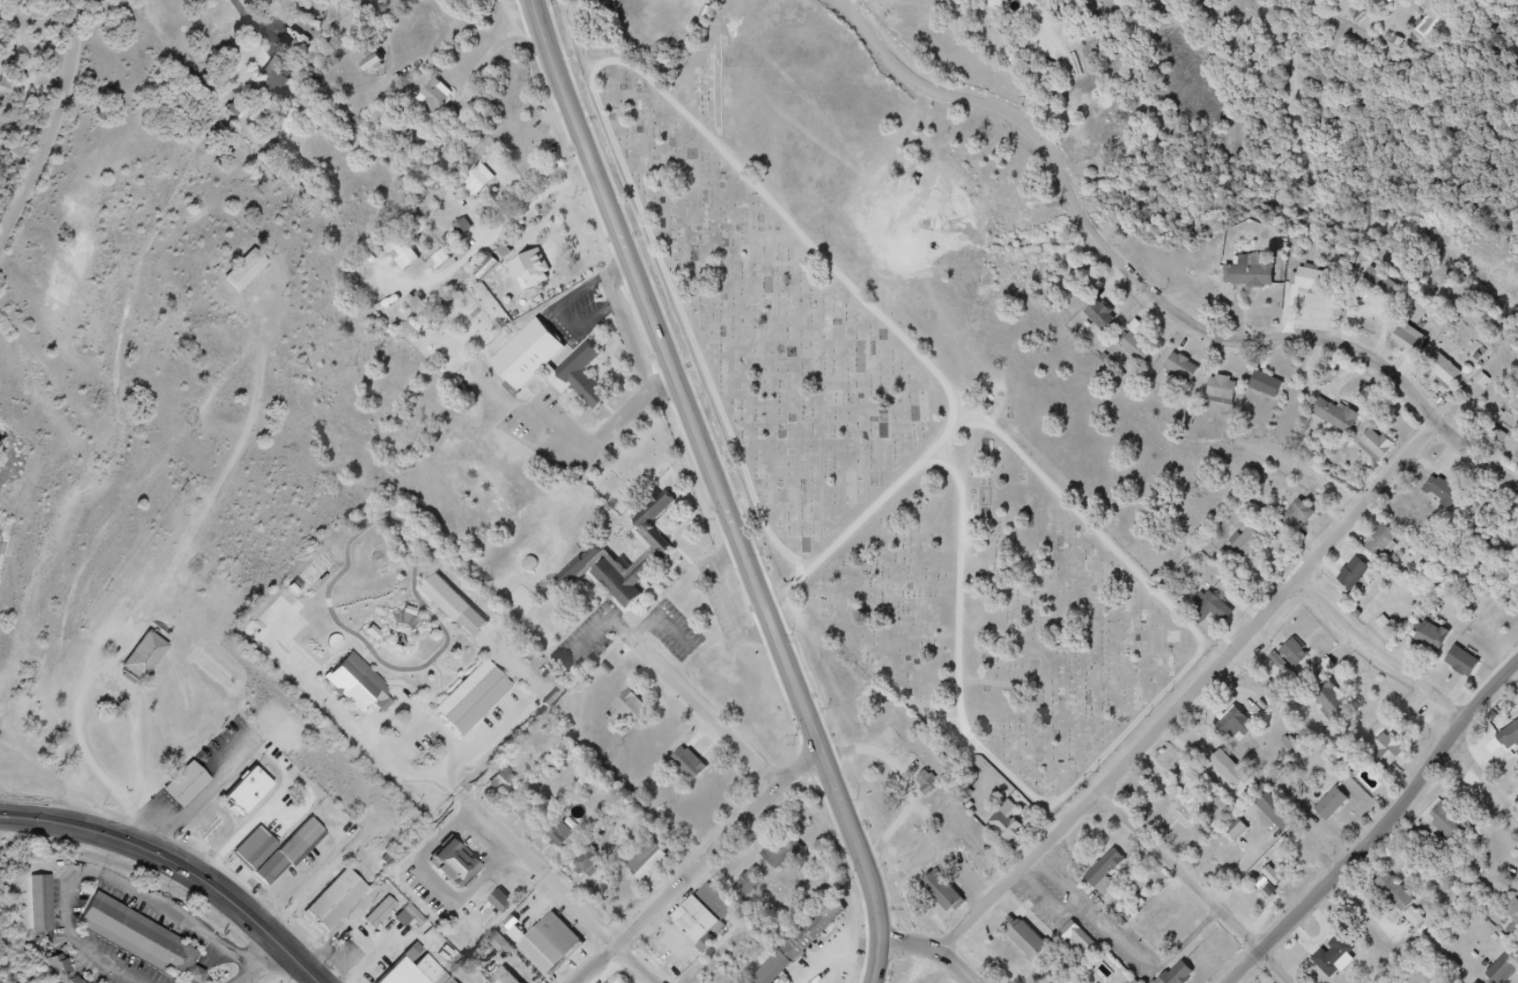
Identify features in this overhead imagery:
road: (864, 2)
building: (1405, 4)
road: (250, 17)
building: (369, 56)
building: (273, 83)
building: (444, 104)
road: (58, 139)
building: (477, 181)
building: (463, 227)
building: (405, 256)
building: (440, 260)
building: (488, 268)
building: (538, 271)
building: (1253, 274)
building: (254, 276)
building: (1311, 280)
building: (1382, 284)
building: (1261, 288)
road: (1148, 291)
building: (1319, 292)
building: (417, 305)
building: (1108, 323)
road: (689, 328)
road: (905, 340)
building: (1418, 352)
building: (1144, 356)
building: (557, 368)
building: (1190, 373)
road: (677, 376)
building: (1452, 380)
building: (1273, 392)
building: (1228, 398)
building: (1341, 423)
building: (1497, 437)
building: (1383, 455)
building: (1451, 501)
road: (876, 511)
building: (1305, 521)
building: (1249, 545)
building: (1387, 549)
building: (608, 552)
building: (1258, 552)
building: (1358, 581)
road: (164, 587)
road: (729, 601)
building: (462, 608)
building: (1220, 615)
road: (662, 621)
road: (600, 632)
parking lot: (676, 634)
parking lot: (588, 642)
building: (1440, 644)
building: (1304, 660)
building: (153, 664)
building: (1472, 668)
road: (1428, 687)
building: (367, 689)
road: (1202, 695)
building: (483, 701)
building: (1335, 706)
building: (639, 709)
road: (706, 715)
building: (1235, 723)
building: (1246, 732)
building: (1395, 757)
building: (696, 765)
building: (1235, 777)
building: (511, 783)
building: (180, 786)
building: (936, 788)
building: (240, 791)
building: (1332, 805)
building: (1339, 812)
building: (536, 814)
building: (1284, 817)
building: (1190, 818)
road: (78, 822)
building: (1013, 826)
building: (1456, 828)
building: (1238, 831)
road: (1384, 832)
building: (561, 835)
building: (572, 838)
building: (250, 848)
building: (784, 850)
building: (289, 853)
building: (1298, 854)
building: (653, 861)
road: (867, 864)
road: (699, 865)
building: (462, 867)
building: (594, 867)
road: (299, 875)
road: (103, 876)
building: (1112, 878)
building: (754, 886)
road: (1197, 889)
road: (562, 893)
building: (948, 898)
building: (41, 904)
building: (345, 905)
building: (510, 907)
building: (1407, 907)
road: (244, 908)
building: (380, 915)
building: (1514, 915)
parking lot: (1086, 916)
building: (712, 917)
building: (138, 937)
building: (1080, 941)
building: (800, 944)
building: (812, 946)
road: (913, 946)
building: (1035, 947)
building: (559, 948)
road: (270, 956)
building: (1342, 964)
road: (956, 967)
building: (57, 970)
building: (1510, 974)
road: (249, 975)
building: (412, 976)
building: (504, 977)
building: (1190, 978)
building: (519, 981)
building: (1174, 981)
building: (1135, 982)

